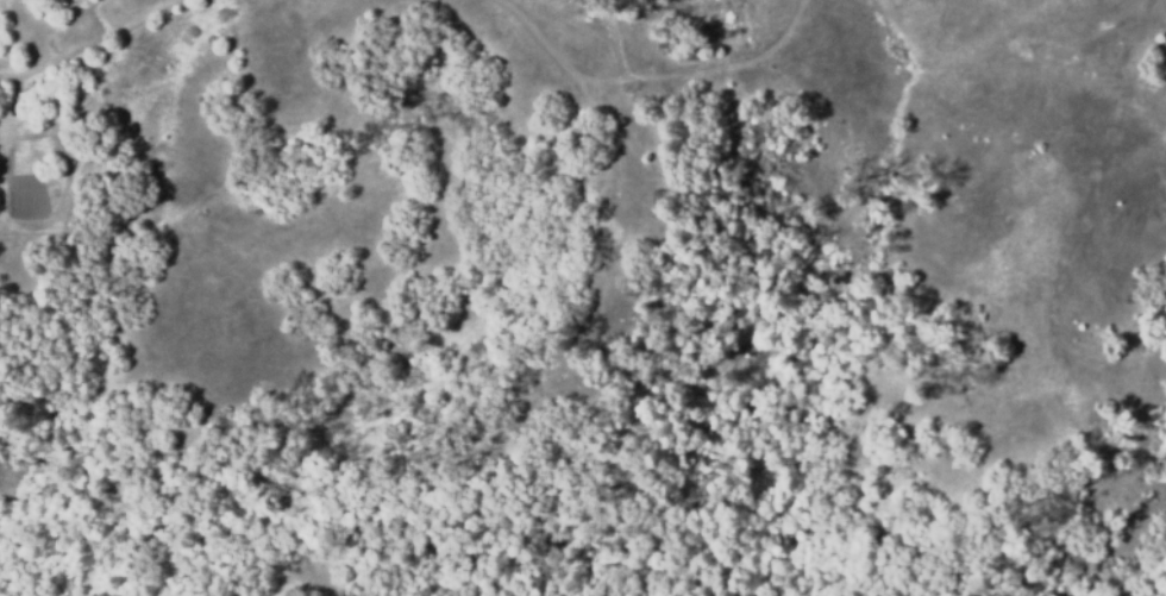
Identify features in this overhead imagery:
building: (4, 111)

